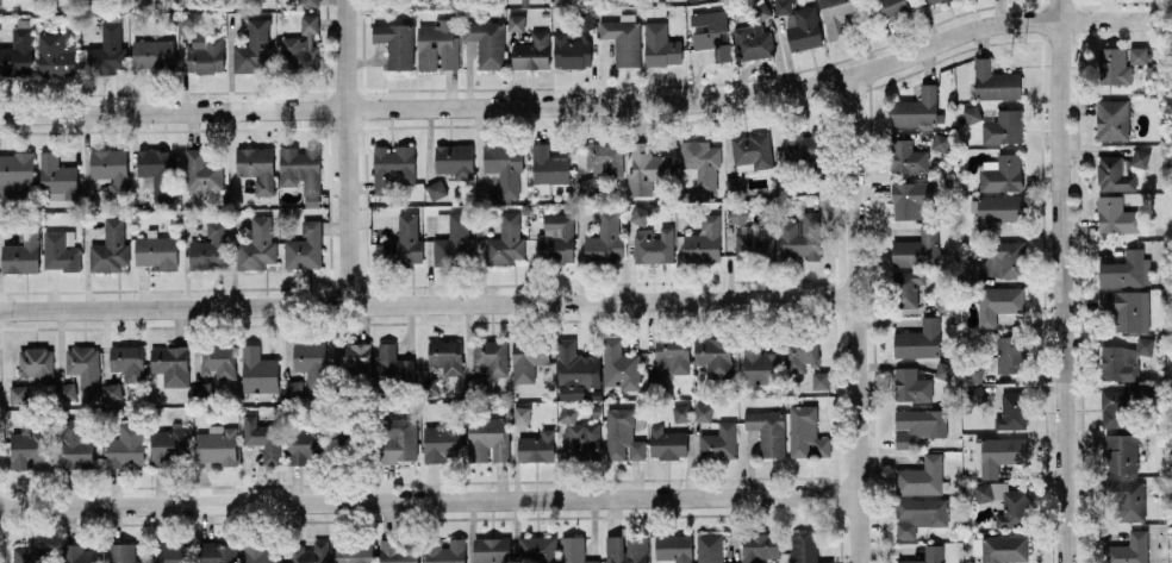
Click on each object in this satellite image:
building: (310, 1)
building: (933, 1)
building: (783, 6)
building: (891, 7)
building: (836, 17)
building: (515, 21)
building: (804, 29)
building: (712, 33)
building: (623, 38)
building: (753, 40)
building: (486, 42)
building: (395, 43)
building: (437, 44)
building: (574, 44)
building: (303, 45)
building: (660, 45)
building: (201, 48)
building: (254, 48)
building: (107, 51)
building: (531, 51)
building: (17, 54)
building: (56, 54)
building: (152, 54)
building: (1137, 55)
building: (1112, 65)
building: (995, 81)
road: (585, 104)
building: (916, 107)
building: (971, 113)
building: (1111, 119)
building: (1003, 127)
building: (940, 142)
building: (752, 151)
road: (345, 152)
building: (906, 156)
building: (603, 157)
building: (1140, 157)
building: (454, 159)
building: (702, 163)
building: (548, 164)
building: (256, 167)
building: (392, 167)
building: (504, 167)
building: (646, 168)
building: (110, 169)
building: (158, 171)
building: (201, 171)
building: (301, 171)
building: (15, 173)
building: (1000, 173)
building: (1112, 174)
building: (56, 176)
building: (734, 184)
building: (587, 187)
building: (435, 189)
building: (909, 198)
building: (997, 209)
building: (736, 212)
building: (638, 214)
building: (1116, 215)
building: (800, 236)
building: (555, 238)
building: (604, 238)
building: (703, 239)
building: (405, 240)
building: (453, 240)
building: (505, 240)
building: (754, 243)
building: (654, 244)
building: (256, 245)
building: (305, 245)
building: (110, 246)
building: (210, 248)
building: (60, 249)
building: (919, 249)
building: (21, 251)
building: (156, 251)
building: (1004, 258)
building: (1126, 269)
road: (1062, 281)
building: (908, 287)
building: (997, 302)
road: (428, 304)
building: (1127, 308)
road: (855, 320)
building: (918, 339)
building: (802, 354)
building: (1010, 354)
building: (491, 355)
building: (672, 355)
building: (713, 355)
building: (353, 356)
building: (445, 356)
building: (528, 358)
building: (1124, 358)
building: (217, 359)
building: (127, 361)
building: (311, 362)
building: (170, 363)
building: (393, 363)
building: (35, 364)
building: (619, 364)
building: (759, 364)
building: (83, 368)
building: (943, 369)
building: (257, 370)
building: (575, 370)
building: (975, 370)
building: (819, 379)
building: (910, 383)
building: (430, 387)
building: (293, 388)
building: (67, 390)
building: (112, 390)
building: (201, 392)
building: (18, 394)
building: (975, 394)
building: (1116, 407)
building: (1011, 409)
building: (681, 412)
building: (703, 412)
building: (520, 414)
building: (917, 425)
building: (767, 430)
building: (805, 432)
building: (578, 434)
building: (622, 434)
building: (262, 437)
building: (487, 438)
building: (399, 439)
building: (442, 440)
building: (76, 442)
building: (718, 442)
building: (667, 443)
building: (216, 444)
building: (305, 444)
building: (126, 445)
building: (168, 445)
building: (536, 446)
building: (29, 448)
building: (1121, 452)
building: (1000, 453)
building: (921, 476)
building: (1127, 498)
road: (429, 502)
building: (1005, 502)
building: (918, 514)
building: (759, 546)
building: (674, 548)
building: (710, 548)
building: (805, 548)
building: (1004, 548)
building: (492, 549)
building: (536, 549)
building: (626, 549)
building: (1128, 549)
building: (574, 550)
building: (354, 551)
building: (399, 551)
building: (445, 551)
building: (120, 552)
building: (168, 552)
building: (217, 552)
building: (263, 552)
building: (308, 552)
building: (30, 553)
building: (79, 553)
building: (927, 555)

